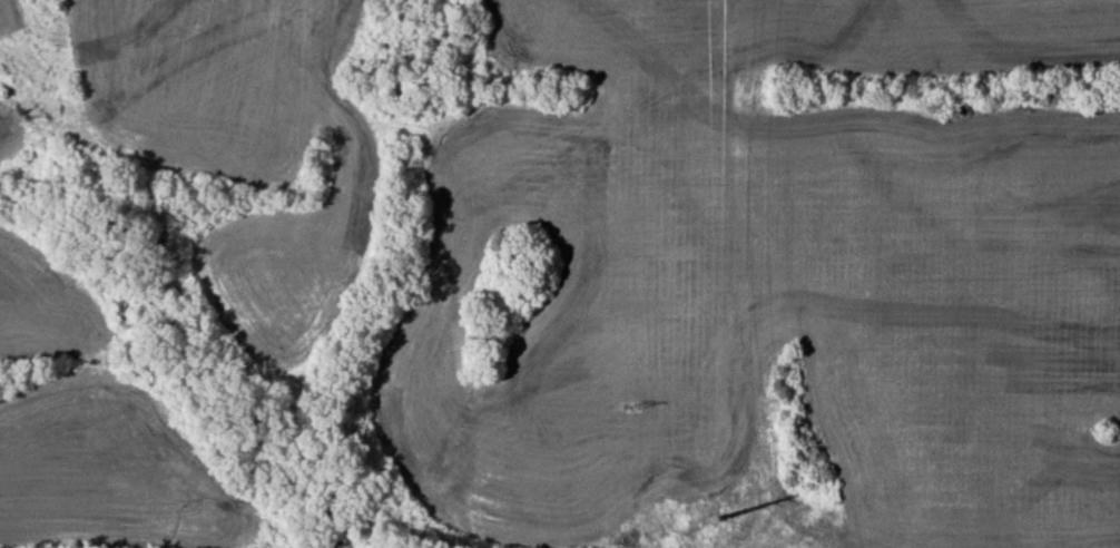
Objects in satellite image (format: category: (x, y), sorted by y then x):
power tower: (632, 407)
power tower: (716, 518)

